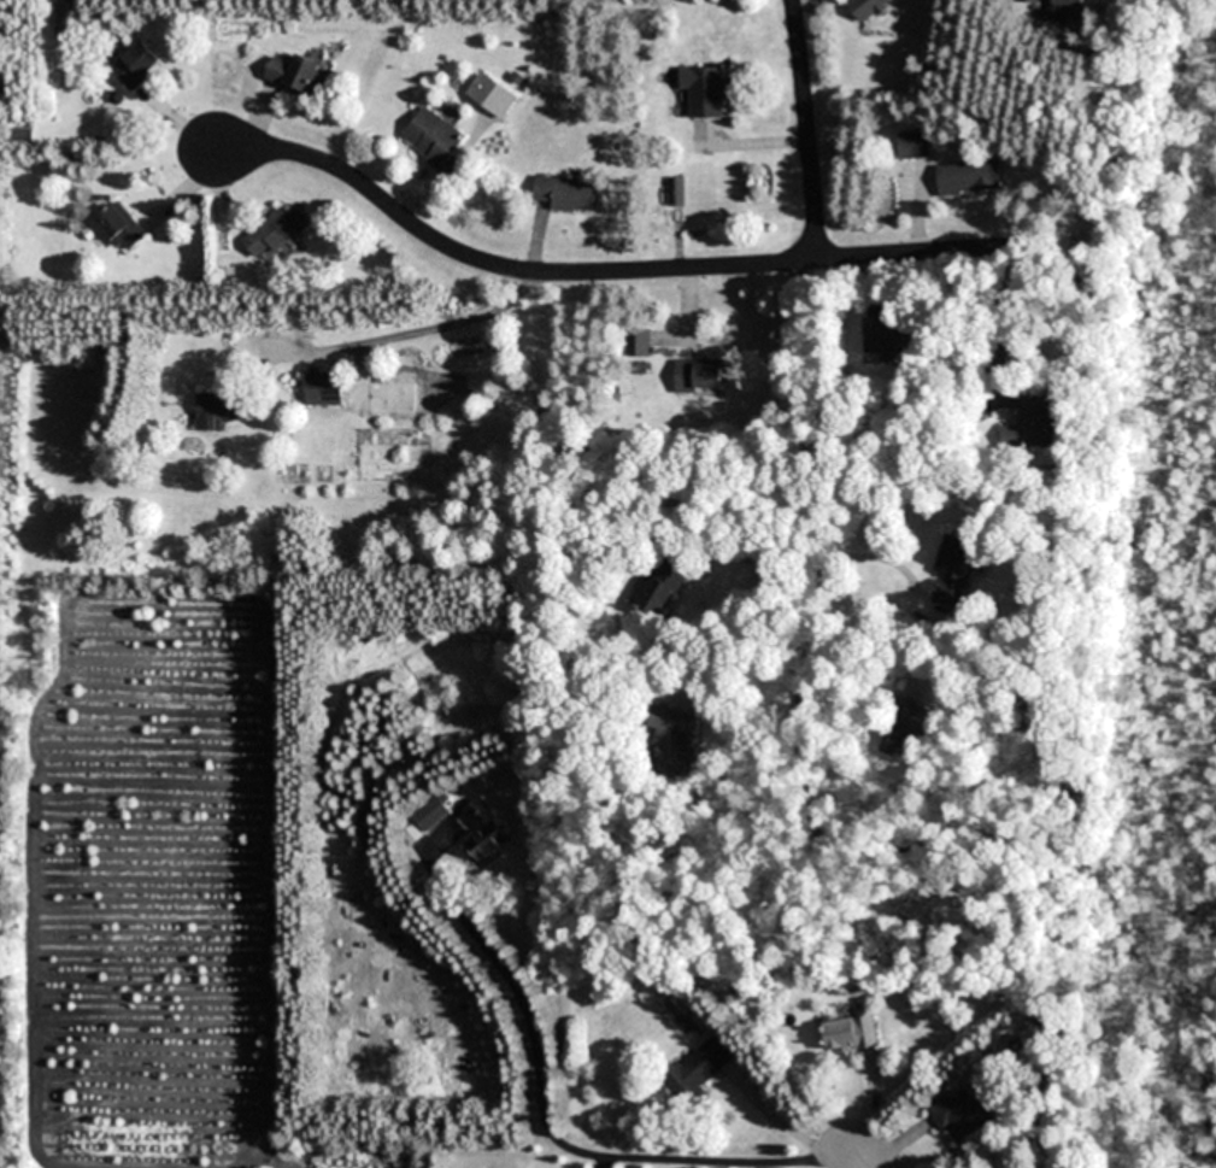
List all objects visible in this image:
building: (1068, 2)
building: (870, 8)
building: (139, 65)
building: (299, 74)
building: (704, 92)
road: (809, 129)
building: (436, 141)
building: (916, 145)
building: (973, 178)
building: (566, 194)
building: (121, 228)
building: (278, 231)
road: (916, 250)
road: (492, 262)
building: (676, 323)
building: (701, 375)
building: (325, 388)
building: (218, 410)
building: (1041, 421)
road: (804, 474)
building: (961, 568)
building: (663, 587)
building: (484, 832)
building: (848, 1028)
building: (697, 1070)
building: (965, 1114)
road: (862, 1160)

